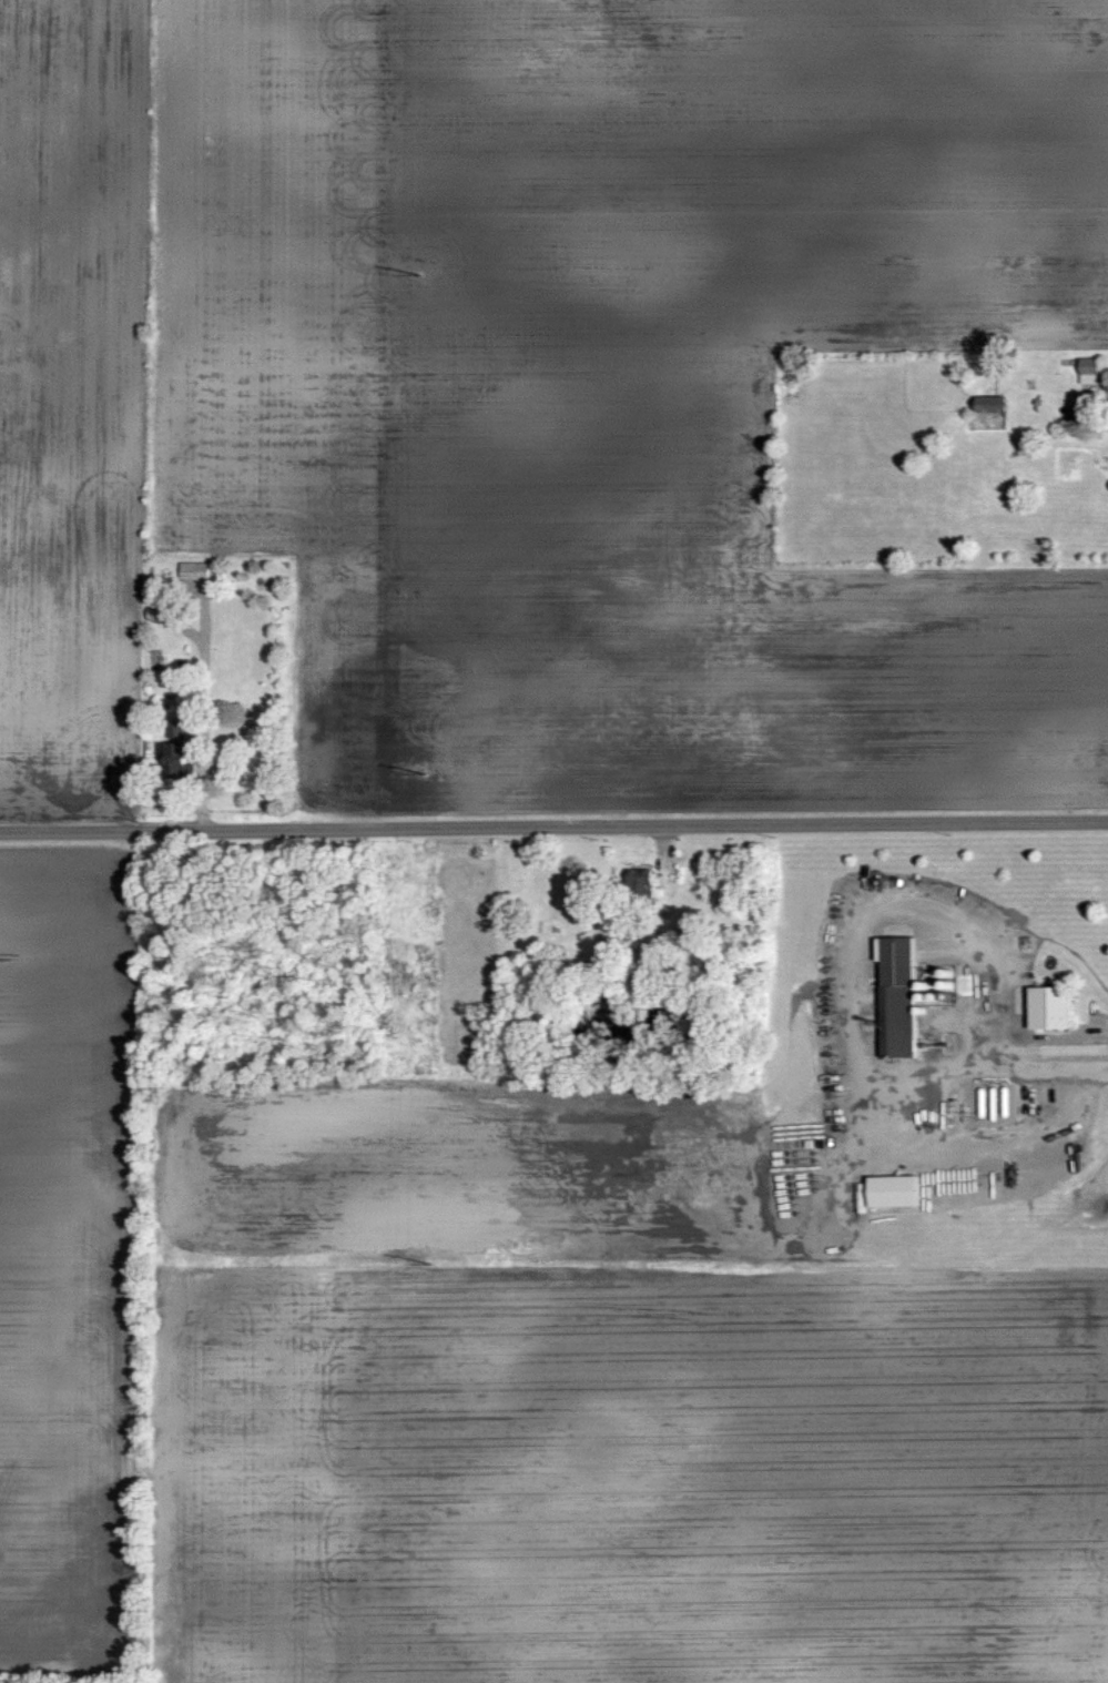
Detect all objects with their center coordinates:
power tower: (420, 273)
building: (1088, 369)
building: (990, 403)
building: (193, 570)
road: (202, 718)
building: (174, 749)
power tower: (425, 771)
road: (553, 828)
building: (639, 882)
road: (857, 926)
building: (896, 997)
building: (1049, 1008)
road: (1047, 1067)
building: (893, 1192)
power tower: (431, 1261)

